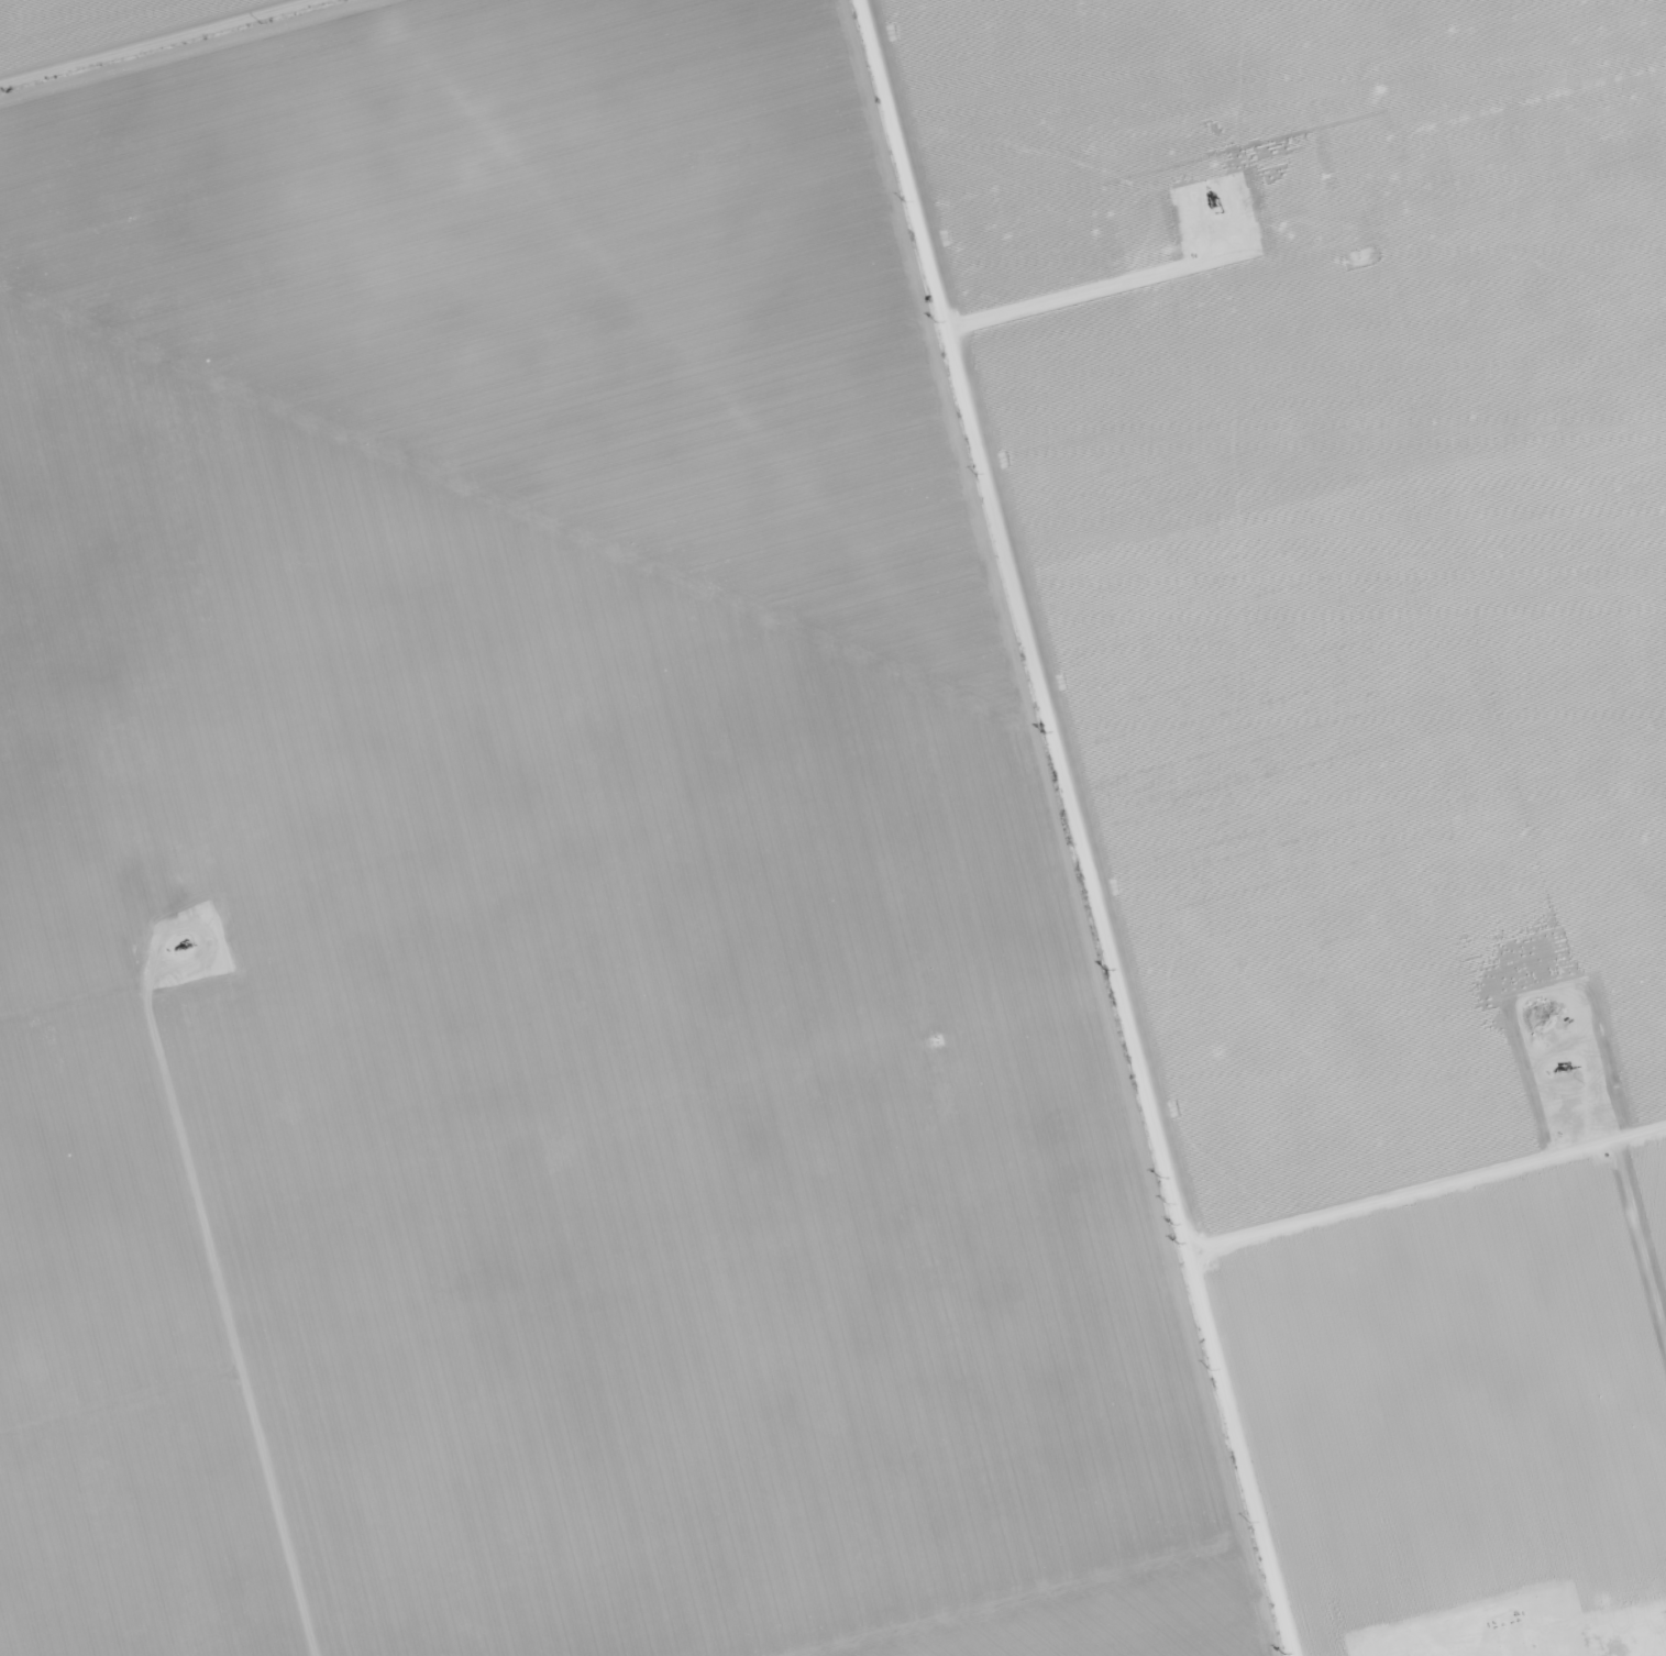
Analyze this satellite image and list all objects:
road: (1645, 1137)

